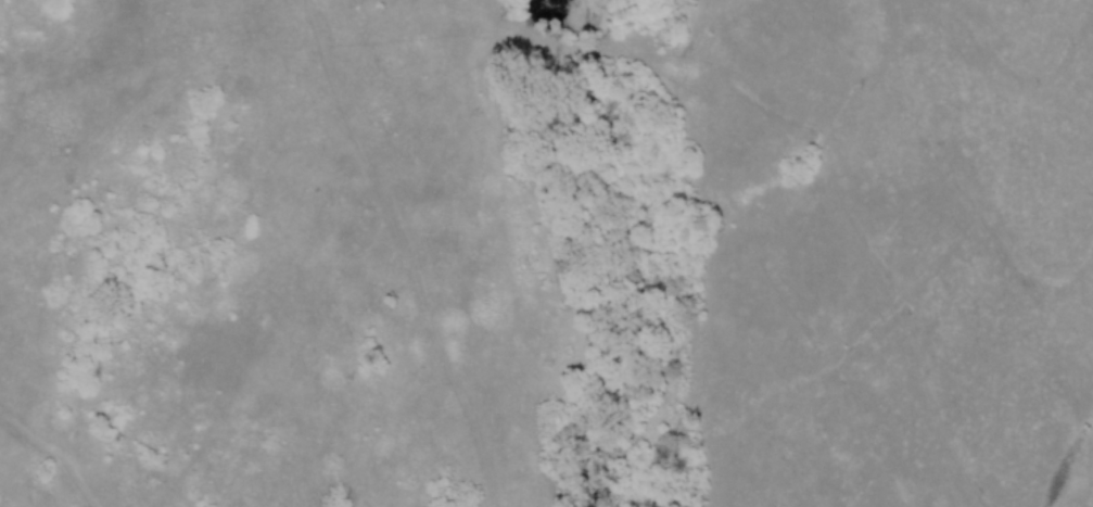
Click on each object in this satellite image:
road: (50, 454)

